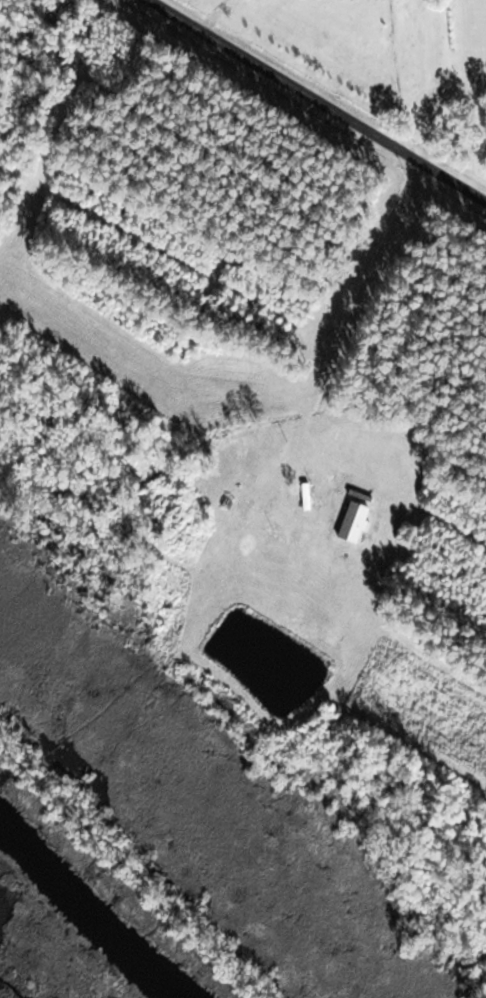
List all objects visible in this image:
road: (318, 101)
road: (357, 310)
building: (305, 497)

